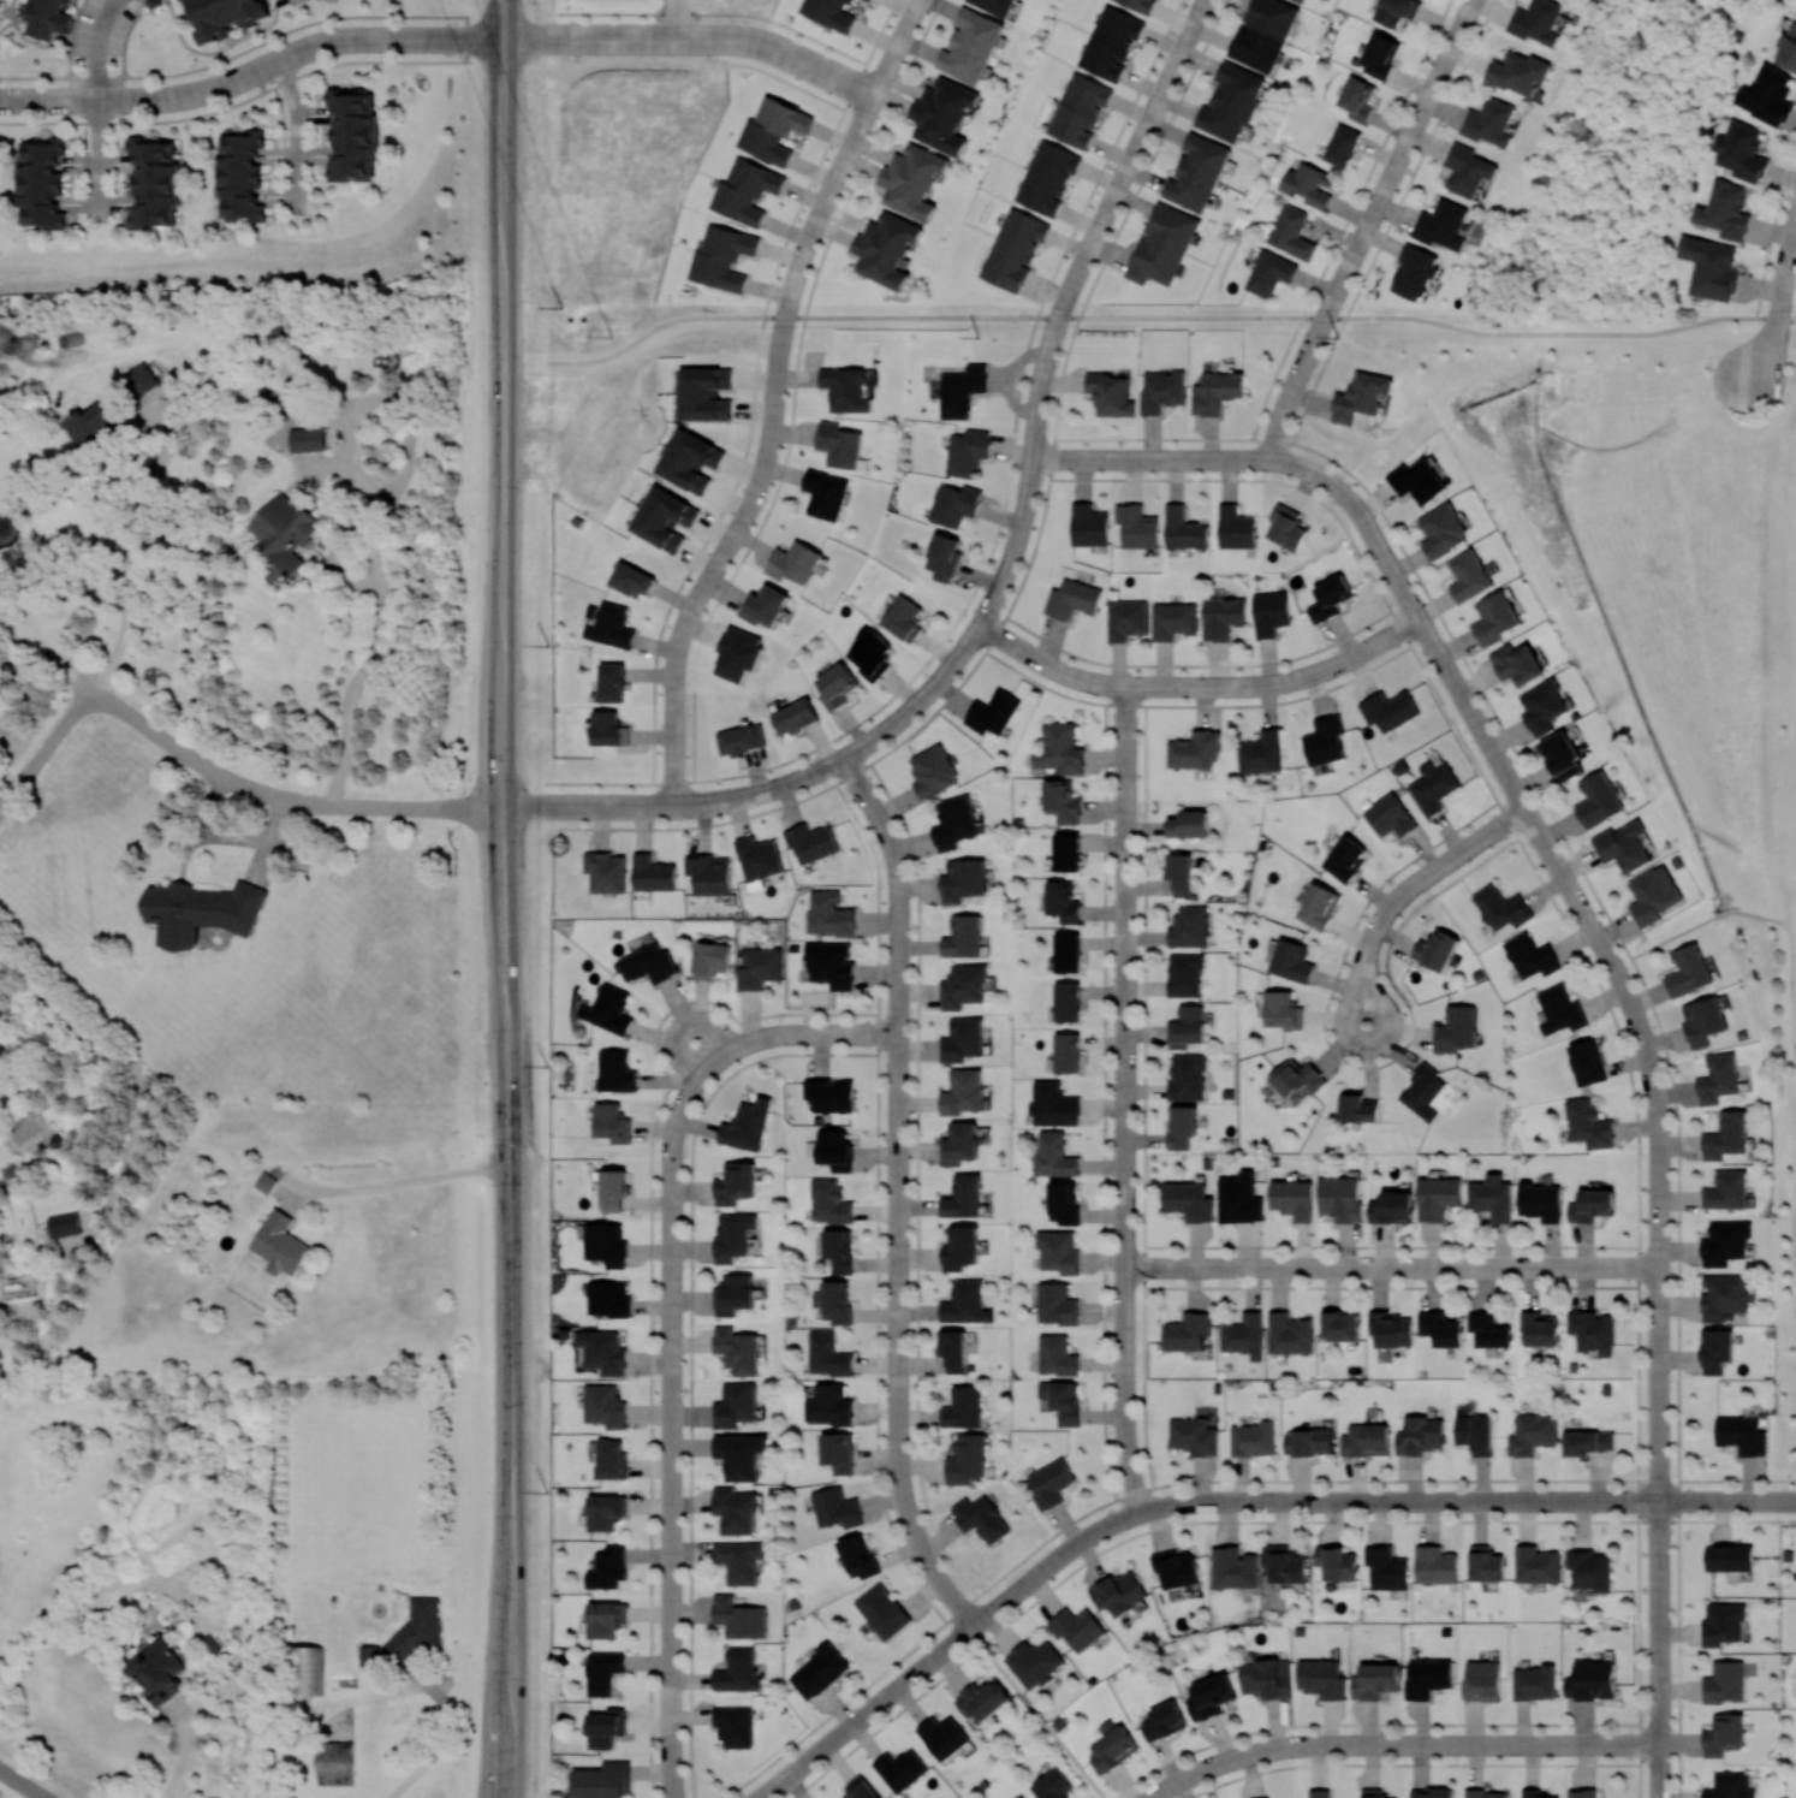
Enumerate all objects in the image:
building: (182, 0)
building: (869, 0)
building: (1302, 1)
building: (1138, 4)
building: (0, 6)
building: (995, 6)
building: (1396, 11)
road: (714, 13)
building: (828, 13)
building: (224, 16)
building: (46, 17)
road: (500, 19)
road: (501, 19)
road: (677, 19)
building: (1535, 22)
building: (1263, 32)
road: (470, 40)
road: (486, 40)
road: (528, 40)
road: (641, 40)
road: (741, 41)
building: (1111, 42)
road: (255, 43)
building: (971, 46)
road: (95, 47)
road: (897, 48)
building: (1788, 51)
building: (1379, 55)
road: (815, 67)
building: (1517, 72)
road: (237, 79)
road: (785, 81)
building: (1767, 96)
building: (1357, 99)
road: (237, 102)
building: (1231, 102)
building: (1078, 109)
road: (283, 114)
building: (942, 114)
building: (1489, 123)
building: (773, 129)
building: (352, 133)
road: (296, 137)
road: (84, 138)
building: (1342, 146)
building: (1742, 152)
park: (1617, 156)
road: (96, 162)
road: (1129, 164)
building: (1467, 170)
building: (1197, 172)
road: (501, 173)
building: (239, 174)
building: (1047, 177)
building: (912, 180)
building: (40, 182)
building: (154, 183)
building: (1308, 184)
building: (745, 190)
road: (827, 198)
building: (1725, 210)
building: (1441, 225)
road: (1367, 229)
building: (1290, 232)
building: (1162, 244)
building: (886, 249)
building: (1013, 249)
building: (722, 256)
building: (1711, 267)
road: (1786, 268)
building: (1415, 272)
building: (1268, 273)
park: (236, 274)
power tower: (560, 307)
road: (787, 316)
park: (670, 318)
road: (923, 318)
road: (1193, 318)
road: (661, 324)
road: (1560, 333)
power tower: (611, 336)
power tower: (977, 337)
power tower: (1337, 337)
road: (783, 342)
road: (1768, 346)
building: (141, 379)
road: (753, 388)
building: (846, 388)
building: (961, 390)
building: (1161, 391)
building: (1215, 391)
park: (619, 392)
building: (703, 393)
building: (1111, 394)
building: (1361, 397)
building: (96, 421)
building: (308, 438)
building: (839, 444)
building: (967, 452)
building: (689, 459)
road: (1152, 459)
road: (1304, 468)
road: (761, 475)
road: (1030, 480)
building: (1416, 480)
road: (1343, 493)
building: (826, 494)
building: (953, 504)
building: (664, 518)
building: (1089, 524)
building: (1137, 526)
building: (1286, 527)
building: (1236, 528)
building: (1184, 529)
park: (1580, 529)
road: (997, 530)
building: (1443, 530)
building: (284, 534)
road: (142, 550)
road: (1030, 556)
building: (944, 557)
building: (795, 562)
building: (1468, 575)
building: (632, 580)
road: (702, 592)
building: (1330, 598)
building: (1072, 599)
building: (765, 606)
road: (690, 612)
building: (1269, 612)
building: (1223, 617)
building: (903, 618)
building: (1126, 618)
building: (1494, 618)
building: (1173, 619)
building: (608, 624)
power tower: (546, 645)
road: (36, 646)
building: (737, 653)
building: (870, 653)
road: (1439, 654)
building: (1517, 664)
road: (357, 678)
building: (612, 682)
building: (835, 686)
road: (1200, 687)
building: (1544, 706)
building: (1388, 710)
building: (993, 712)
road: (676, 714)
building: (795, 716)
building: (607, 726)
building: (742, 738)
building: (1325, 740)
building: (1060, 748)
building: (1195, 749)
road: (46, 750)
building: (1261, 752)
building: (1562, 755)
building: (933, 772)
road: (7, 787)
building: (1433, 787)
road: (769, 788)
road: (267, 796)
building: (1598, 800)
building: (1061, 801)
building: (1390, 815)
building: (955, 823)
building: (1189, 824)
building: (810, 842)
building: (1623, 845)
building: (1066, 851)
building: (1346, 858)
building: (757, 860)
building: (606, 871)
building: (653, 873)
building: (708, 873)
building: (1181, 873)
building: (963, 879)
road: (1565, 882)
road: (1407, 891)
building: (1653, 895)
building: (1063, 902)
building: (1319, 906)
building: (1500, 908)
building: (201, 910)
building: (828, 914)
road: (1762, 916)
building: (1189, 927)
building: (963, 937)
building: (1437, 949)
road: (1625, 950)
building: (1066, 951)
building: (1530, 956)
building: (710, 960)
building: (1291, 961)
building: (647, 963)
road: (1612, 963)
building: (829, 965)
building: (759, 967)
building: (1688, 971)
building: (1184, 974)
building: (963, 986)
building: (1068, 1001)
building: (608, 1009)
building: (1281, 1009)
building: (1559, 1010)
building: (1703, 1021)
road: (682, 1025)
building: (1187, 1026)
building: (1456, 1028)
road: (803, 1034)
building: (962, 1039)
road: (504, 1052)
building: (1065, 1054)
building: (1587, 1062)
road: (125, 1066)
power tower: (546, 1066)
building: (615, 1070)
building: (1187, 1076)
building: (1297, 1079)
building: (1718, 1079)
building: (963, 1092)
building: (1422, 1092)
building: (829, 1094)
building: (1444, 1098)
road: (1125, 1100)
building: (1053, 1105)
building: (1357, 1106)
building: (612, 1122)
building: (747, 1125)
building: (1588, 1125)
building: (1182, 1126)
building: (1725, 1135)
building: (961, 1144)
building: (834, 1150)
building: (1053, 1156)
building: (266, 1182)
building: (735, 1182)
road: (388, 1185)
building: (613, 1189)
building: (1726, 1191)
road: (899, 1194)
building: (963, 1197)
building: (1438, 1197)
building: (1492, 1197)
building: (1340, 1198)
building: (1239, 1199)
building: (1292, 1199)
building: (1189, 1200)
building: (1540, 1200)
building: (829, 1201)
building: (1063, 1201)
building: (1592, 1205)
building: (1391, 1207)
building: (64, 1223)
road: (1660, 1234)
building: (733, 1235)
building: (279, 1242)
building: (606, 1242)
building: (1725, 1242)
building: (961, 1248)
building: (839, 1250)
building: (1058, 1252)
road: (1392, 1268)
building: (733, 1293)
building: (1725, 1294)
building: (608, 1298)
building: (834, 1301)
building: (965, 1302)
building: (1055, 1304)
parking lot: (1794, 1309)
building: (1342, 1325)
building: (1440, 1328)
building: (1539, 1328)
building: (1391, 1329)
building: (1488, 1330)
building: (1187, 1331)
building: (1593, 1331)
building: (1289, 1334)
building: (1243, 1335)
building: (737, 1349)
building: (953, 1349)
building: (602, 1351)
building: (1717, 1351)
building: (827, 1354)
building: (1057, 1355)
building: (1061, 1400)
building: (735, 1405)
building: (828, 1405)
building: (605, 1406)
building: (962, 1407)
road: (673, 1424)
building: (1475, 1434)
building: (1533, 1434)
building: (1420, 1435)
building: (1741, 1435)
building: (1194, 1436)
building: (1253, 1438)
building: (1366, 1440)
building: (1308, 1442)
building: (1587, 1442)
building: (837, 1452)
building: (739, 1454)
building: (611, 1458)
building: (965, 1459)
road: (1736, 1480)
building: (1049, 1483)
power tower: (547, 1491)
road: (1718, 1501)
road: (1785, 1501)
road: (1161, 1507)
building: (835, 1508)
building: (735, 1509)
building: (605, 1512)
building: (981, 1518)
building: (857, 1556)
building: (1729, 1557)
building: (739, 1560)
building: (1336, 1562)
building: (1284, 1563)
building: (1485, 1563)
building: (1536, 1563)
building: (1435, 1565)
building: (1386, 1567)
building: (607, 1568)
building: (1176, 1568)
building: (1233, 1568)
building: (1590, 1569)
building: (1119, 1592)
building: (882, 1610)
building: (738, 1616)
building: (605, 1619)
building: (1723, 1622)
building: (1077, 1627)
building: (412, 1634)
road: (1660, 1649)
building: (1034, 1661)
building: (308, 1669)
building: (738, 1669)
building: (157, 1671)
building: (602, 1671)
building: (819, 1671)
building: (1427, 1677)
building: (1266, 1678)
building: (1322, 1678)
building: (1482, 1680)
building: (1590, 1680)
building: (1725, 1681)
building: (1534, 1683)
building: (1211, 1696)
building: (982, 1699)
building: (1164, 1721)
building: (735, 1726)
building: (606, 1727)
building: (1723, 1734)
building: (942, 1735)
road: (445, 1737)
road: (1402, 1745)
building: (1112, 1746)
road: (180, 1756)
building: (335, 1763)
building: (900, 1769)
building: (602, 1780)
road: (23, 1782)
building: (1053, 1785)
building: (1730, 1786)
building: (860, 1788)
building: (1319, 1792)
building: (1373, 1792)
building: (1432, 1792)
building: (1582, 1792)
building: (1486, 1793)
building: (1540, 1794)
building: (1022, 1797)
building: (1265, 1797)

